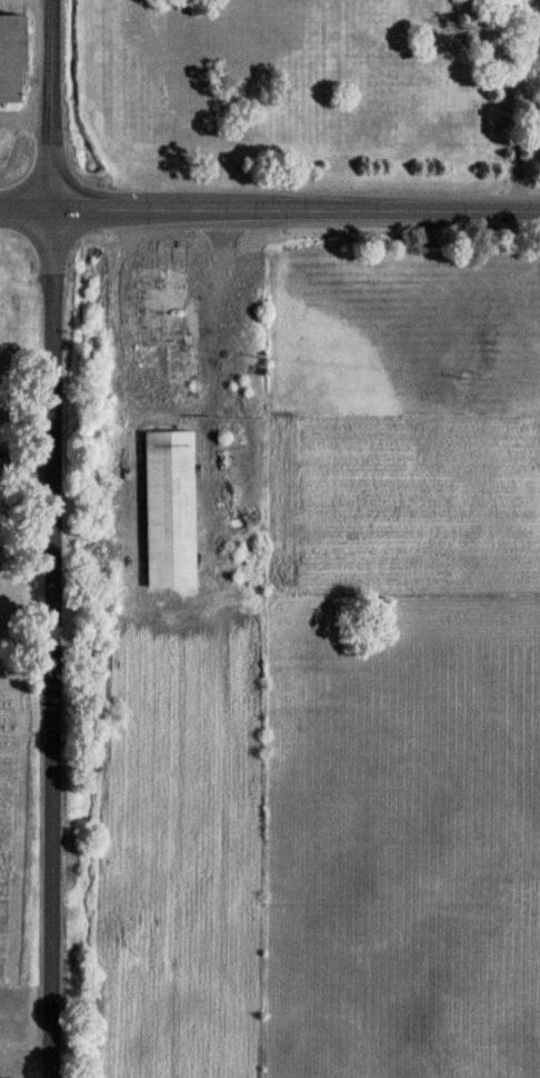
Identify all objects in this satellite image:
building: (12, 57)
road: (512, 103)
road: (58, 107)
road: (29, 110)
road: (269, 213)
building: (167, 320)
road: (169, 407)
road: (28, 459)
building: (171, 510)
road: (54, 645)
road: (24, 1051)

